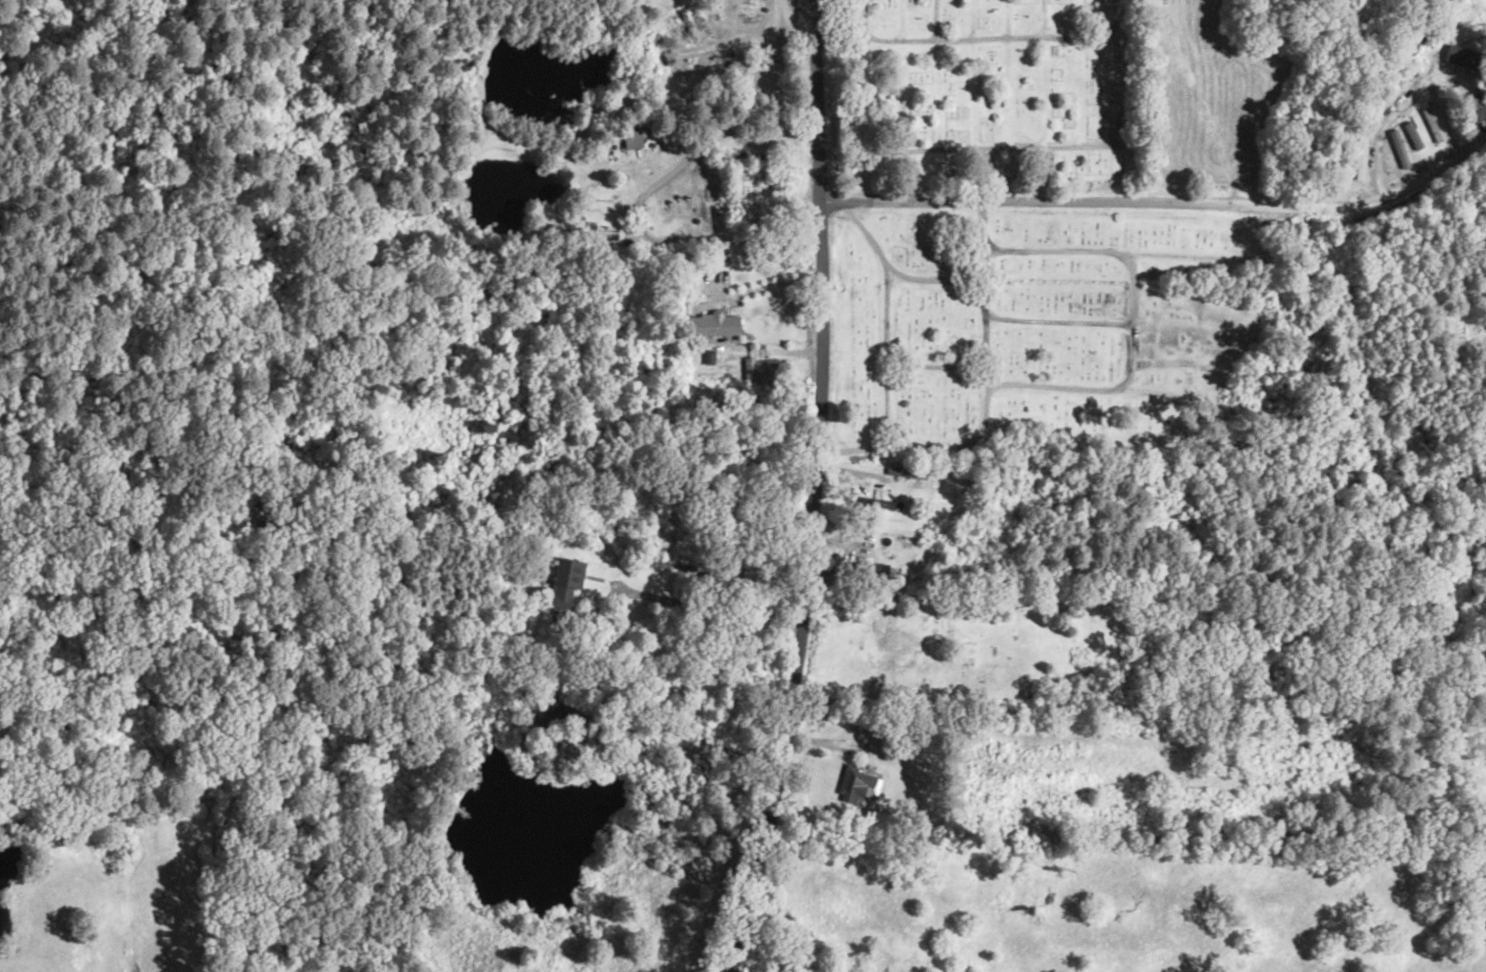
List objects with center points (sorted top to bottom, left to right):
building: (1467, 44)
building: (1390, 95)
building: (1476, 103)
building: (1407, 135)
building: (631, 139)
road: (1159, 204)
building: (597, 234)
park: (1020, 239)
building: (710, 325)
road: (808, 489)
building: (562, 581)
building: (857, 784)

